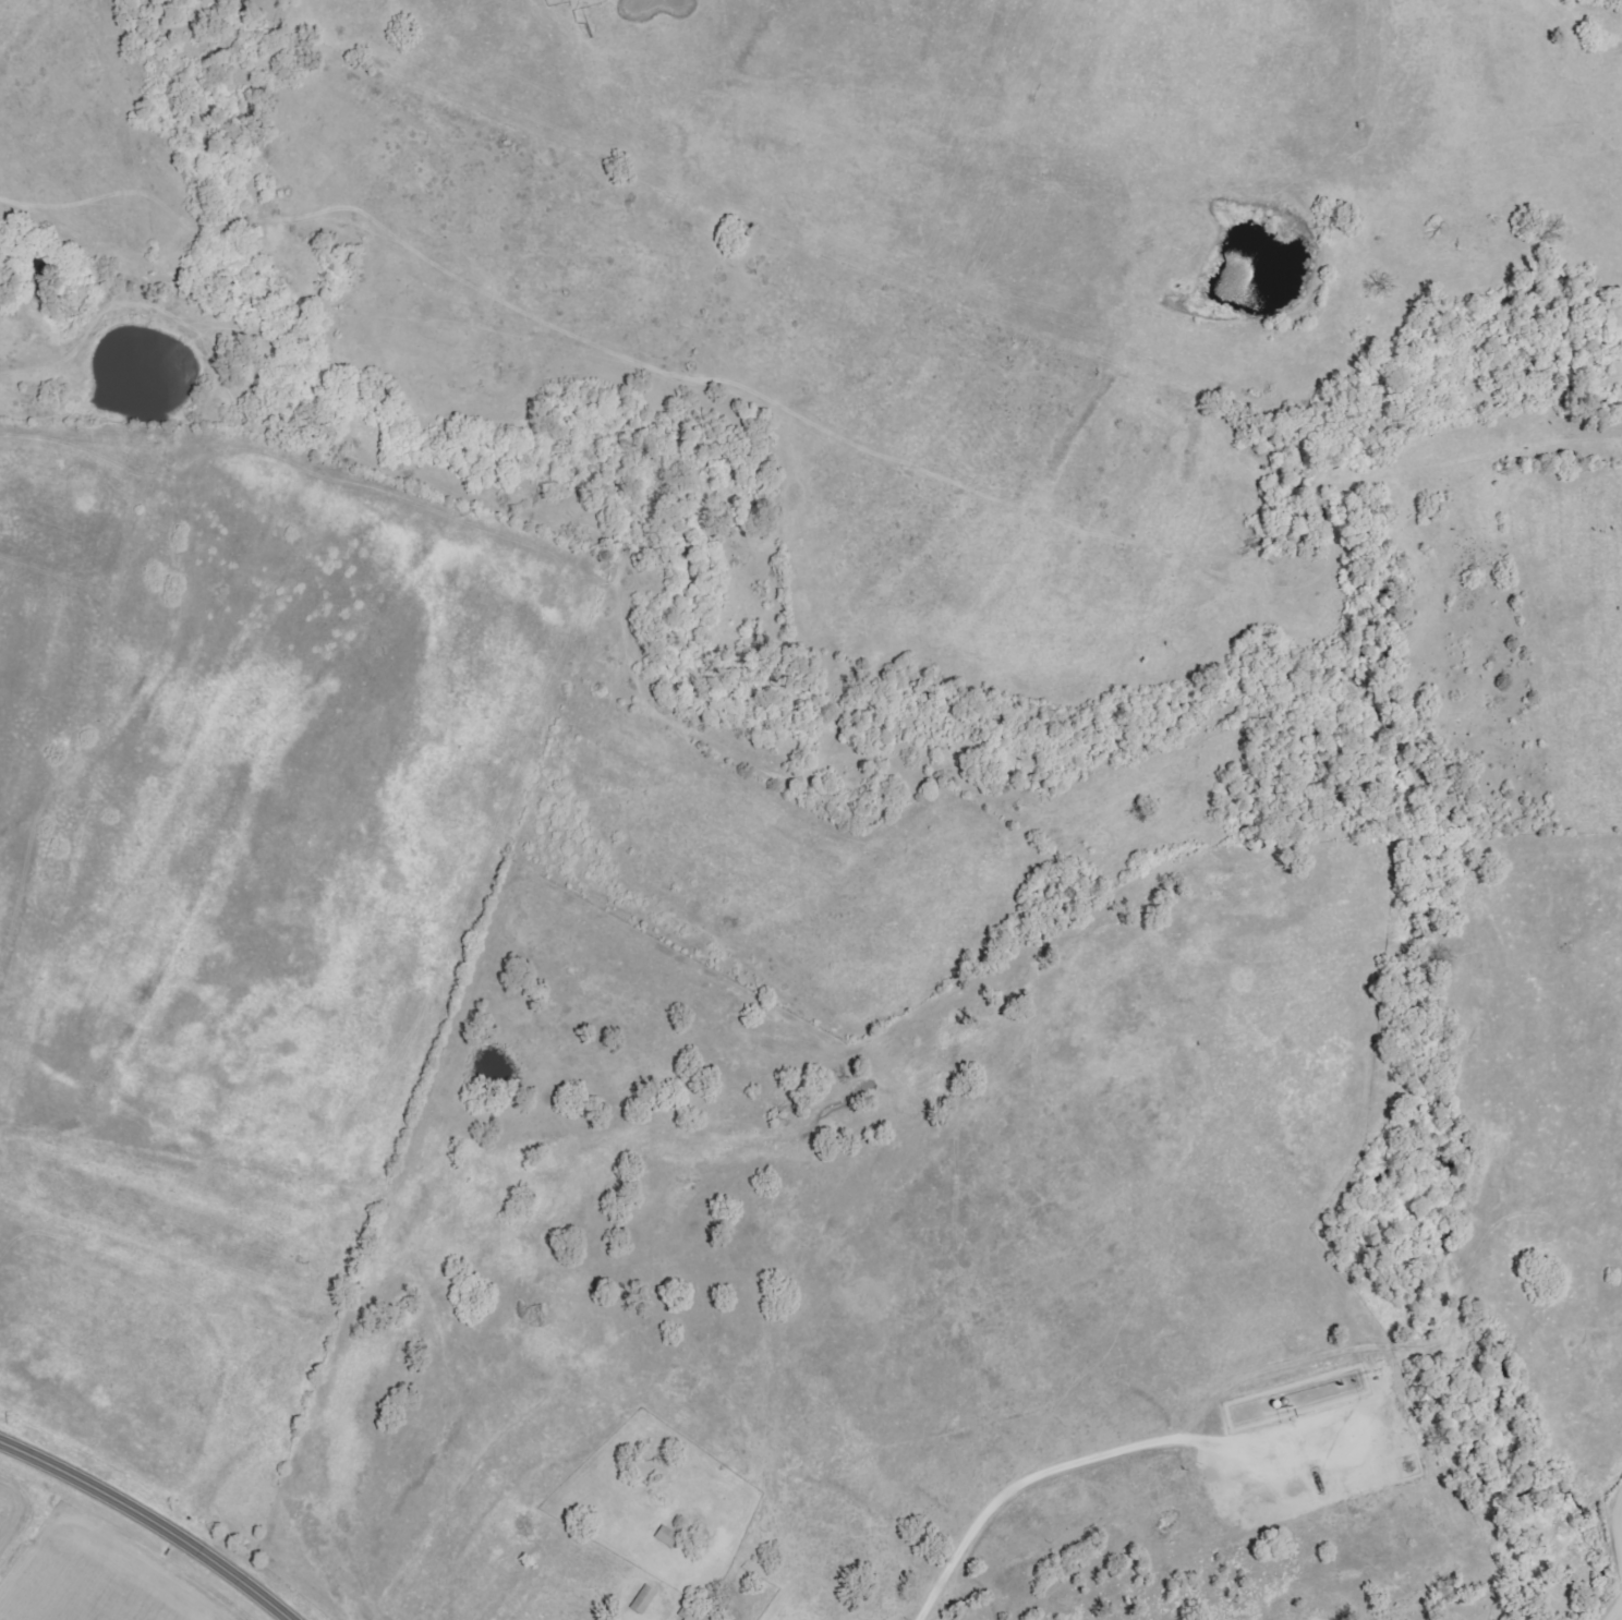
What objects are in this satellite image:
petroleum well: (1319, 1479)
road: (155, 1519)
building: (666, 1536)
building: (643, 1599)
building: (697, 1615)

